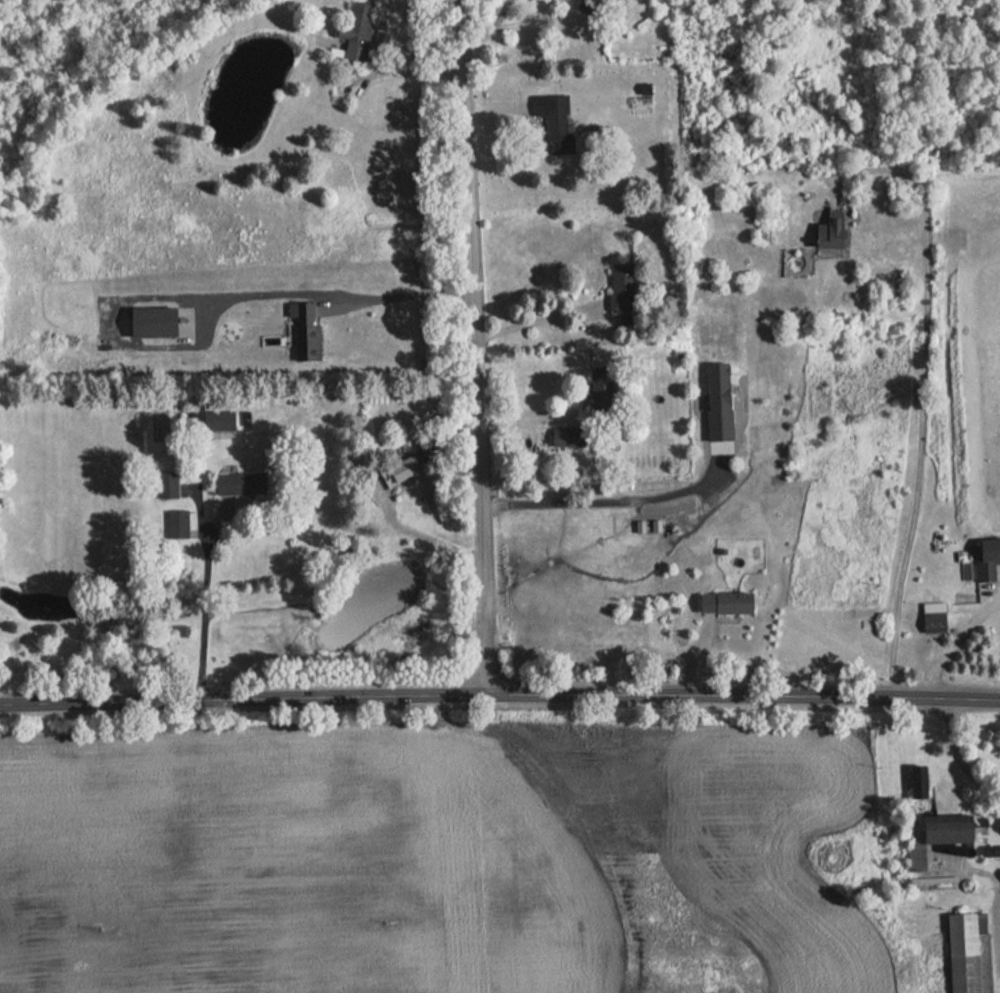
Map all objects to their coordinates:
building: (362, 30)
road: (406, 73)
building: (828, 231)
building: (616, 292)
road: (403, 297)
road: (539, 319)
building: (161, 322)
building: (309, 334)
road: (474, 346)
road: (924, 391)
road: (533, 417)
building: (397, 472)
building: (245, 484)
road: (606, 516)
building: (180, 524)
building: (984, 558)
building: (728, 602)
road: (204, 614)
building: (930, 616)
road: (956, 642)
road: (499, 694)
road: (959, 762)
building: (934, 829)
building: (964, 955)

